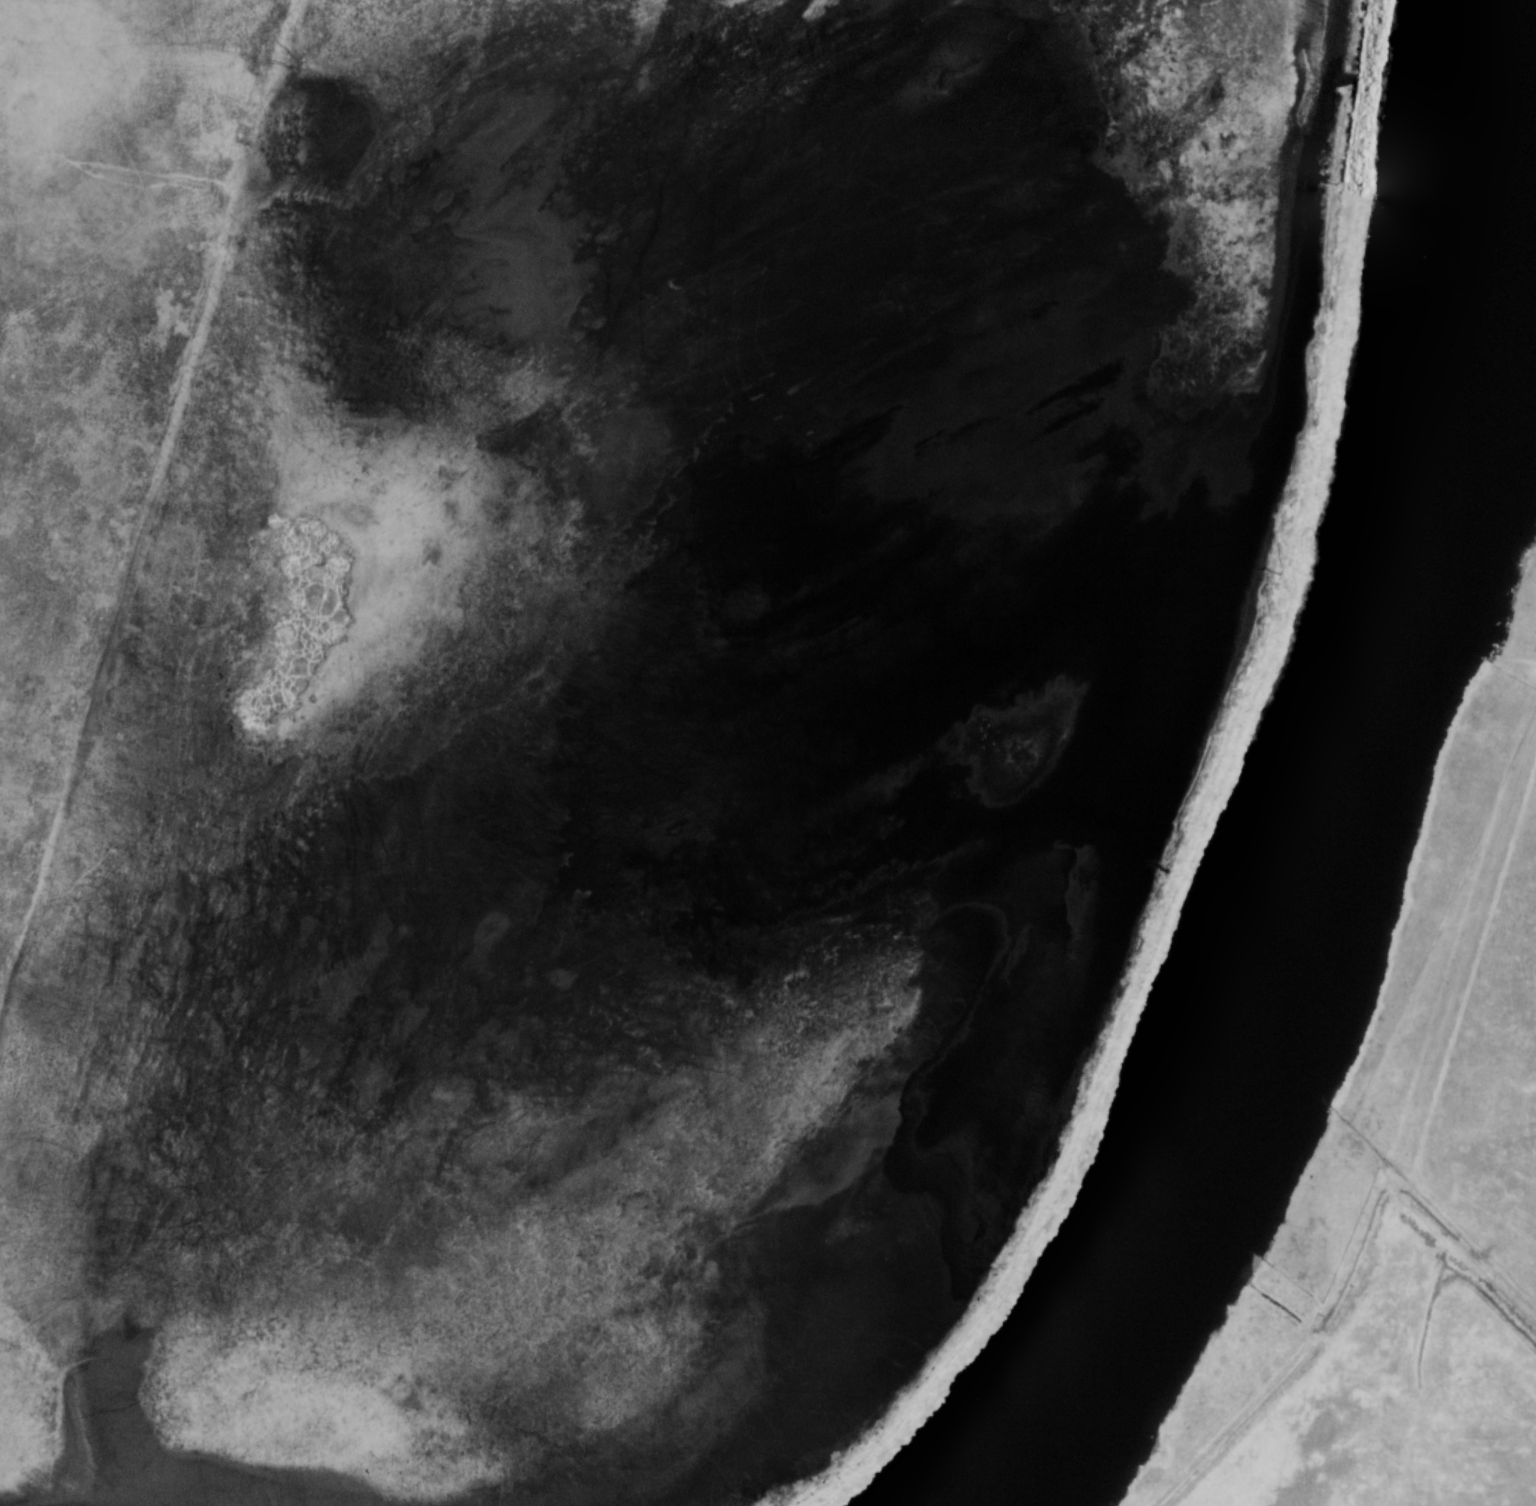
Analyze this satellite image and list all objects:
river: (1487, 311)
road: (1475, 932)
river: (1230, 1081)

